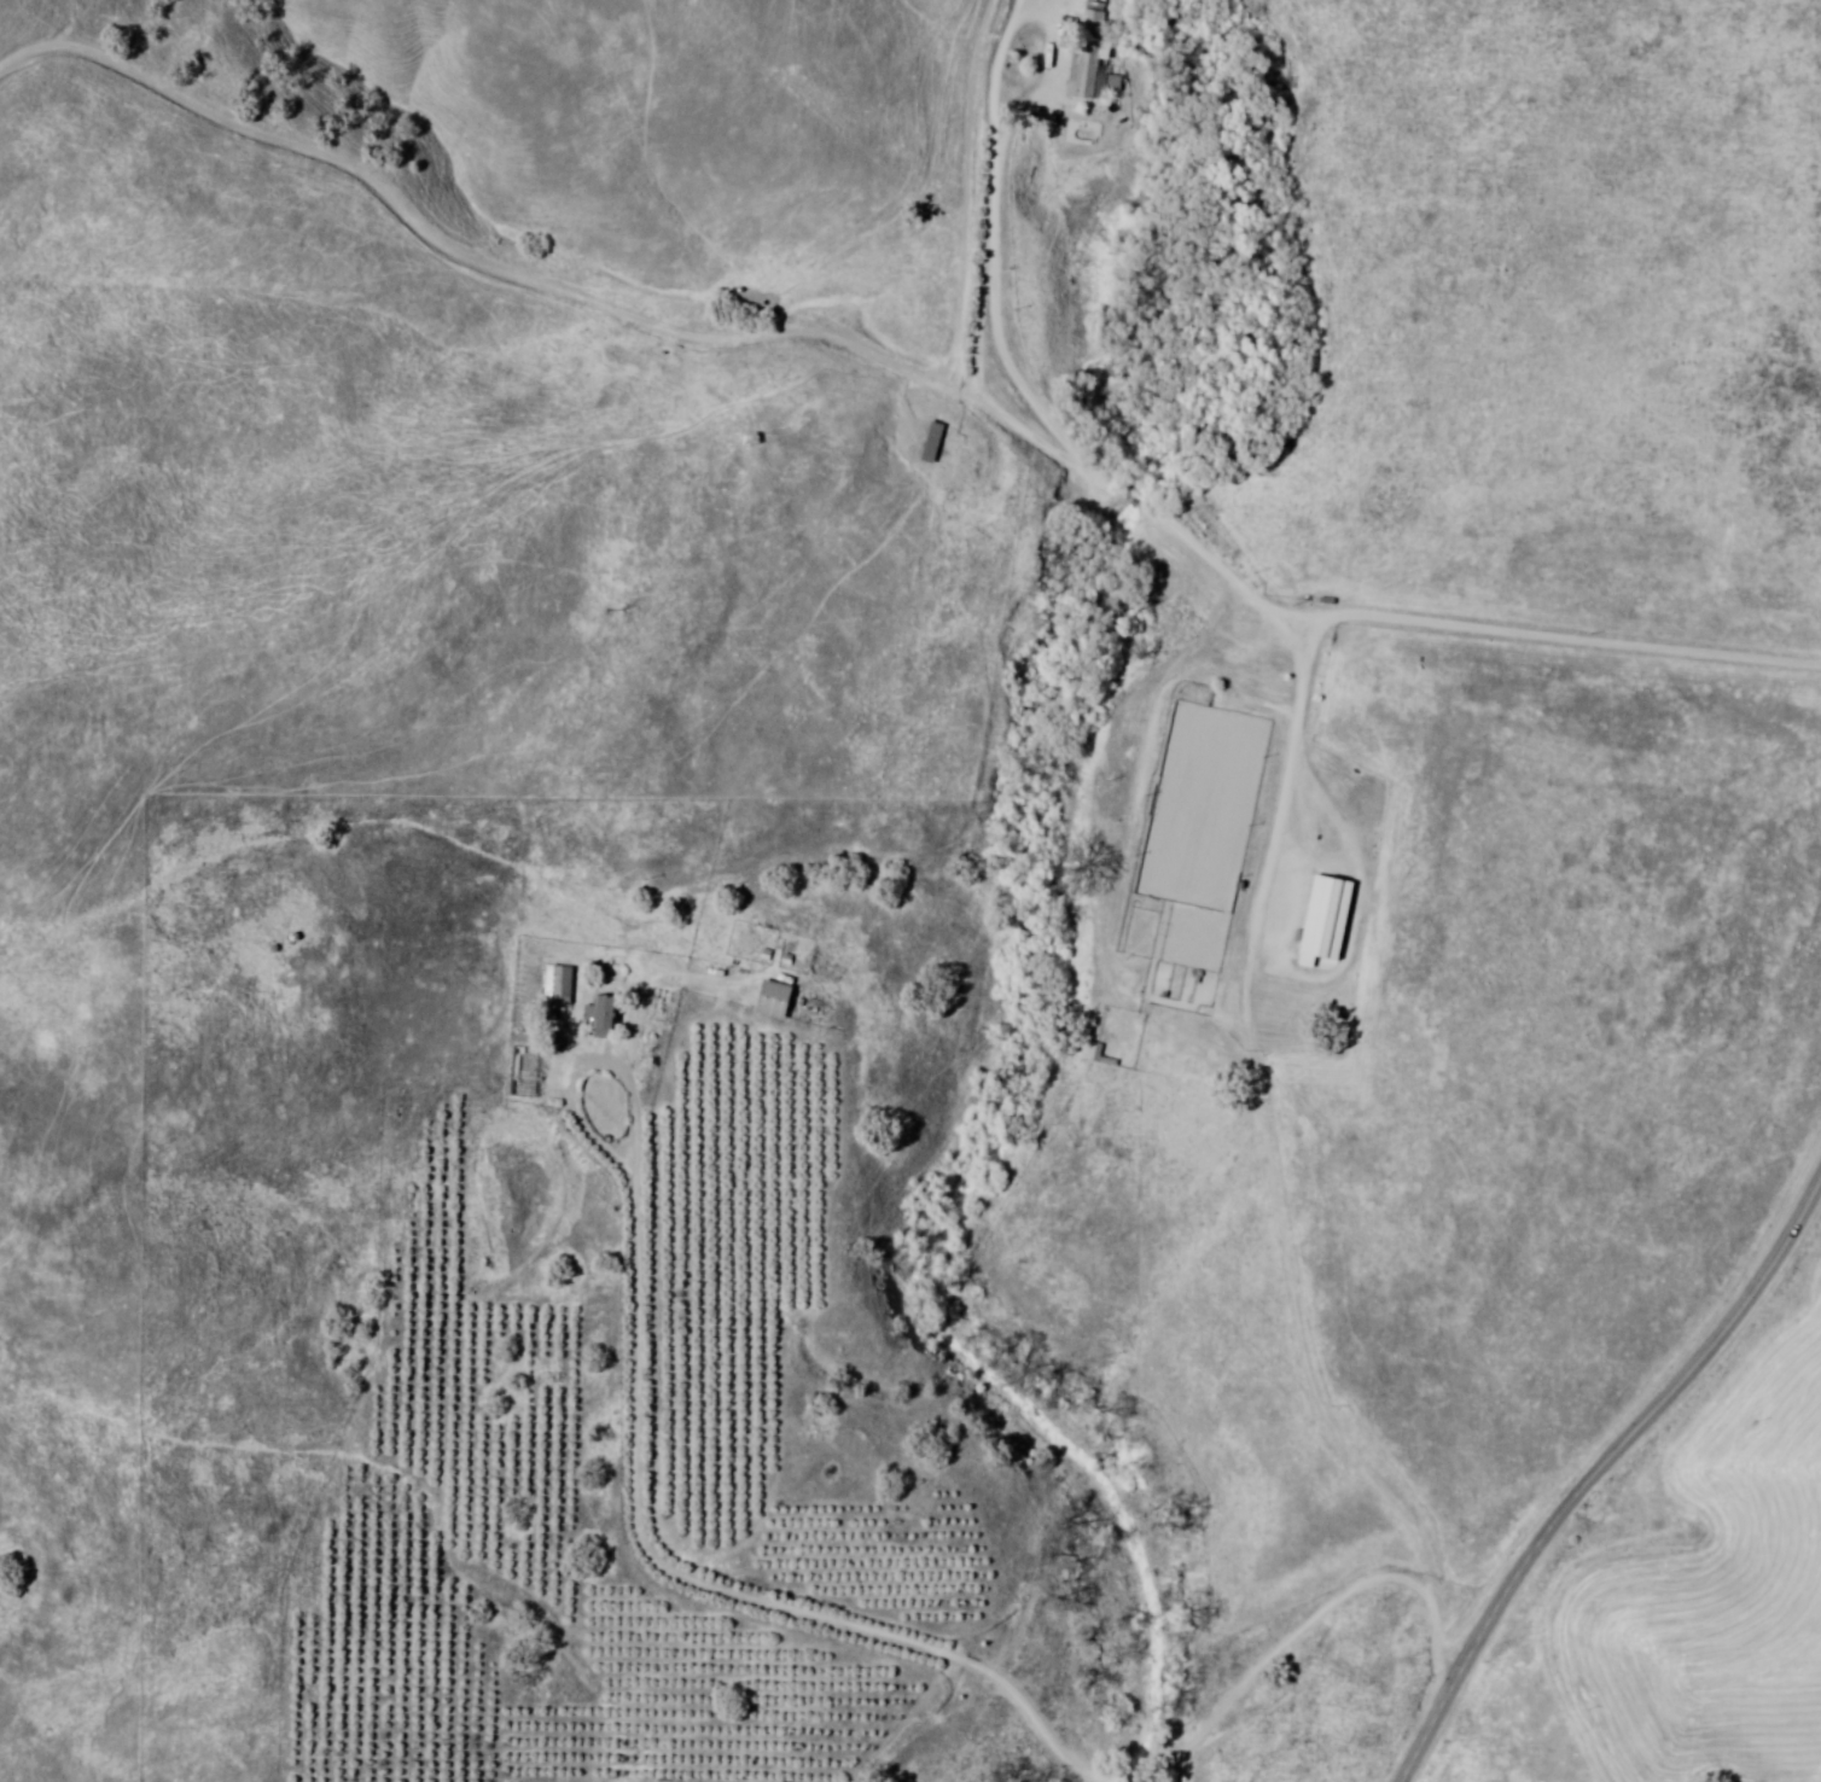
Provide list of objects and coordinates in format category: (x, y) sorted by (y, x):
road: (31, 28)
building: (1087, 53)
road: (1157, 304)
building: (932, 441)
building: (1327, 916)
road: (1258, 925)
building: (559, 982)
building: (772, 1000)
building: (604, 1012)
building: (517, 1075)
road: (1805, 1227)
road: (1596, 1466)
road: (690, 1577)
road: (1269, 1655)

